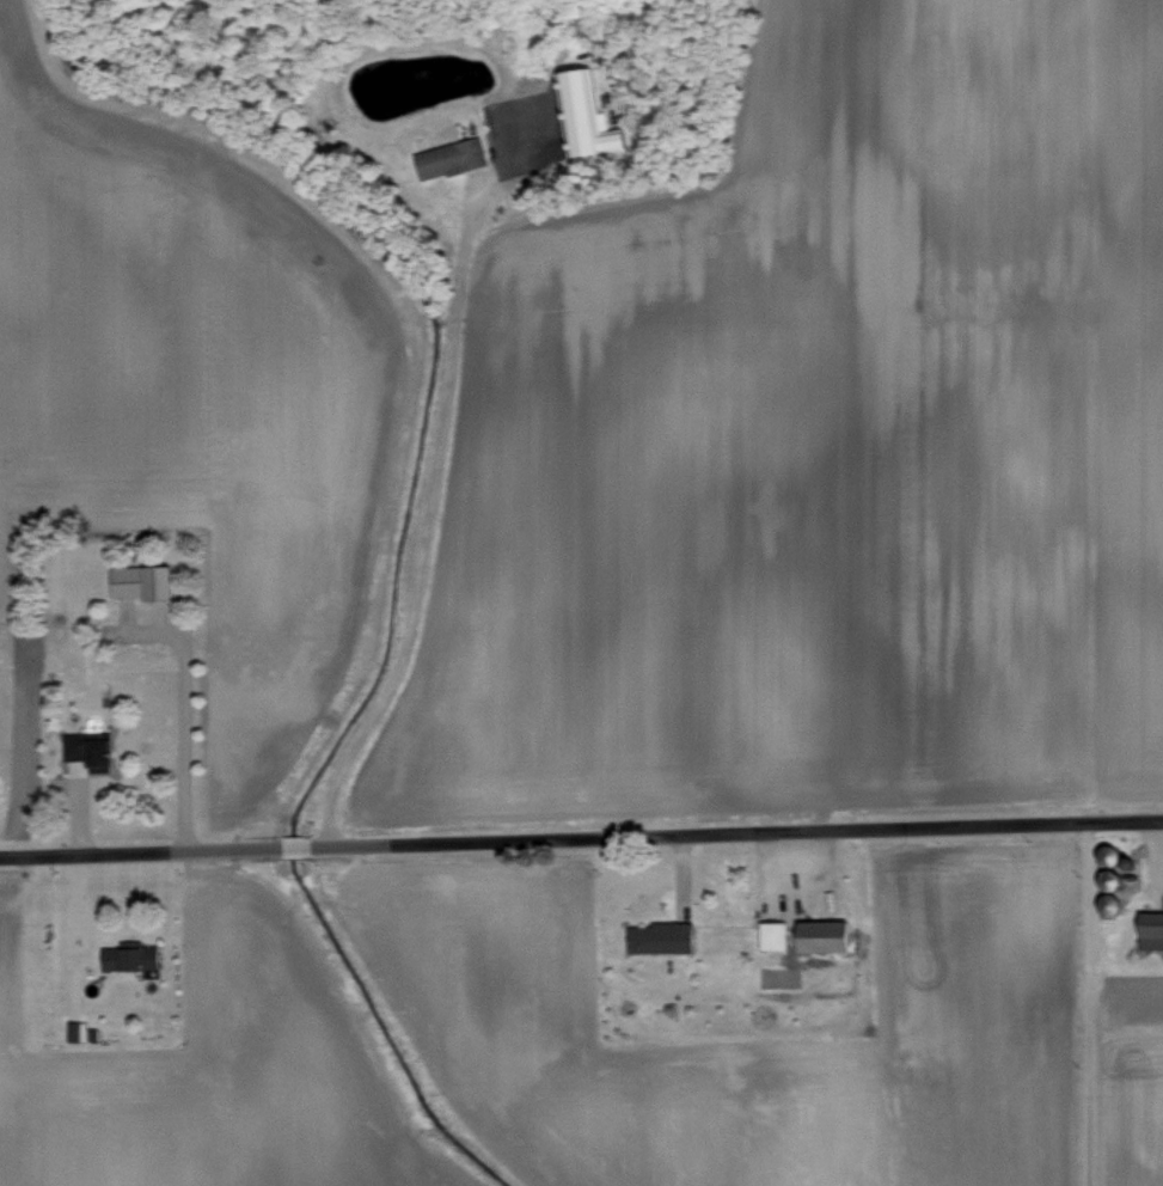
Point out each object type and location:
building: (589, 115)
building: (453, 157)
road: (1079, 414)
road: (431, 490)
building: (145, 580)
road: (182, 728)
building: (91, 747)
road: (1162, 827)
road: (581, 838)
building: (1151, 929)
building: (776, 933)
building: (827, 934)
building: (662, 936)
building: (131, 955)
road: (1082, 1005)
building: (78, 1029)

